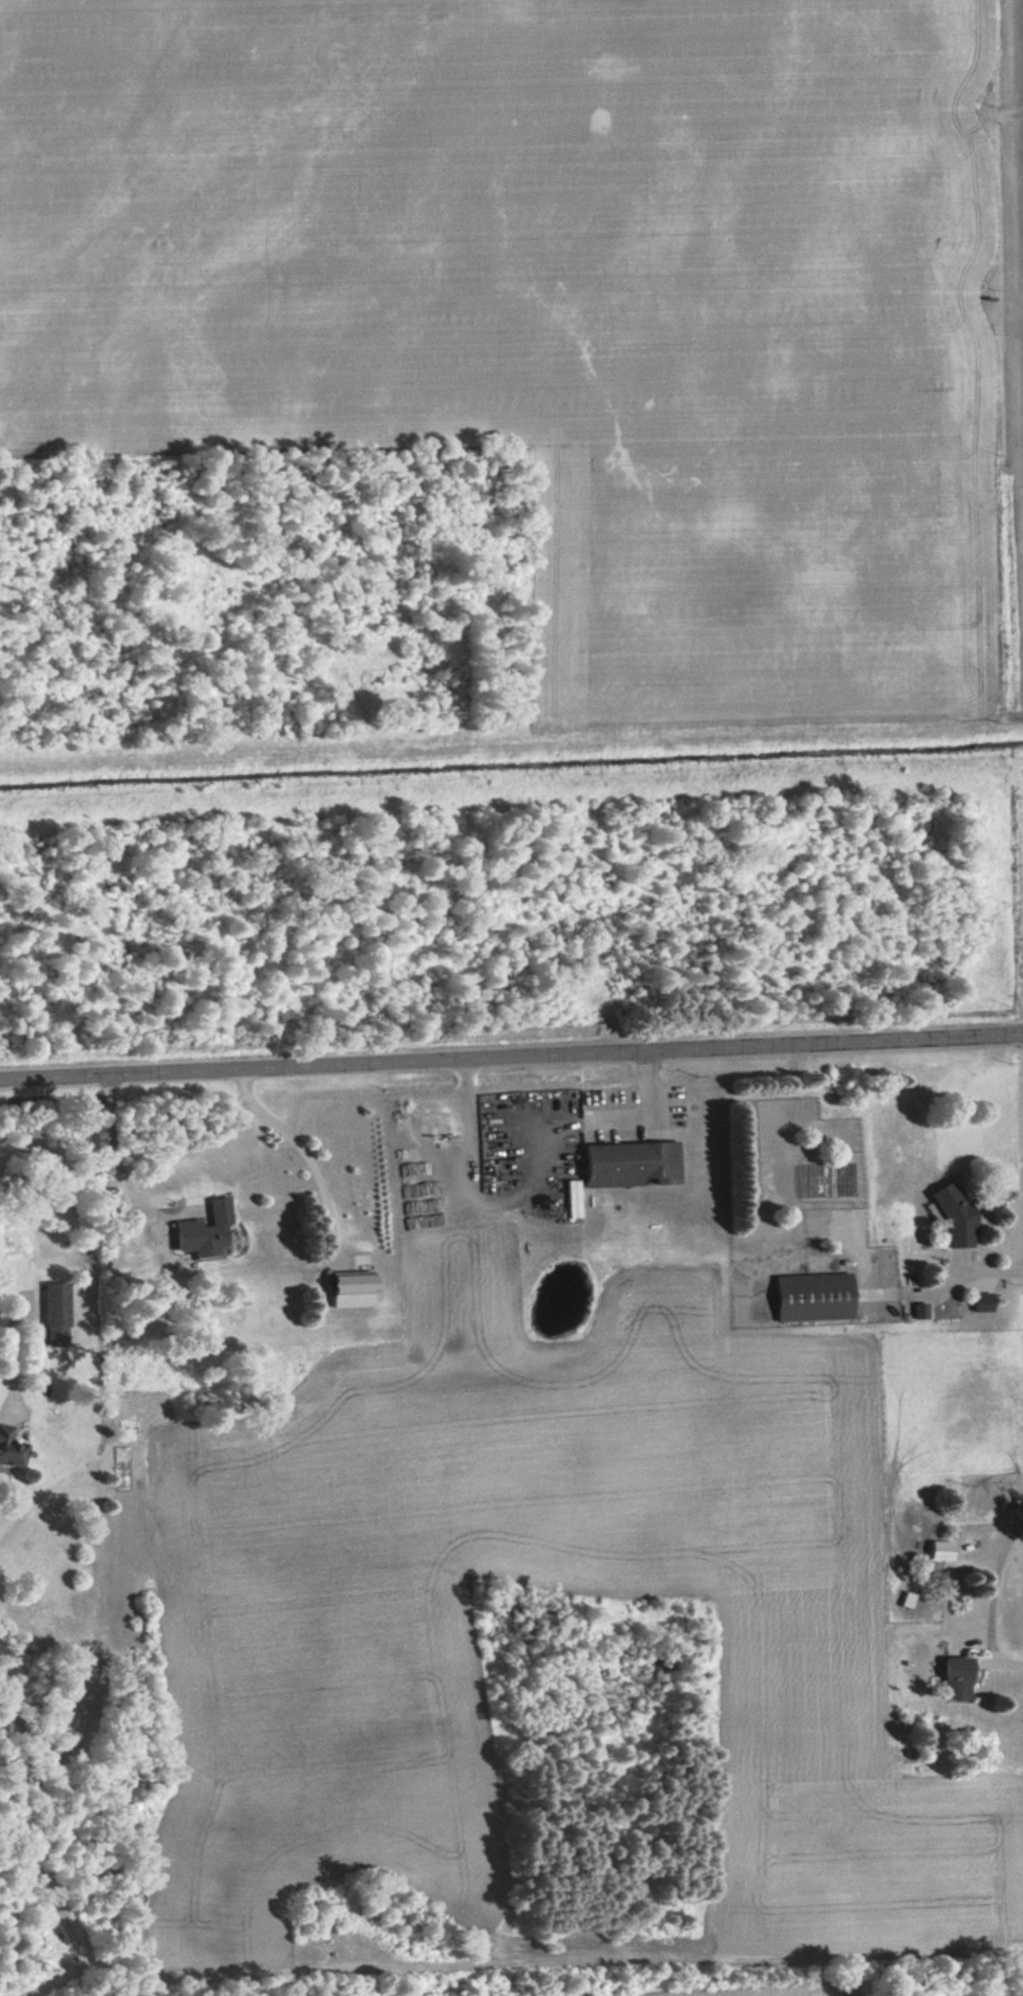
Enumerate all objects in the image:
park: (507, 523)
road: (511, 1057)
building: (628, 1160)
building: (571, 1195)
building: (952, 1212)
building: (201, 1227)
road: (965, 1272)
building: (348, 1281)
building: (813, 1293)
building: (919, 1308)
building: (56, 1309)
building: (9, 1445)
building: (939, 1547)
building: (954, 1675)
park: (942, 1980)

